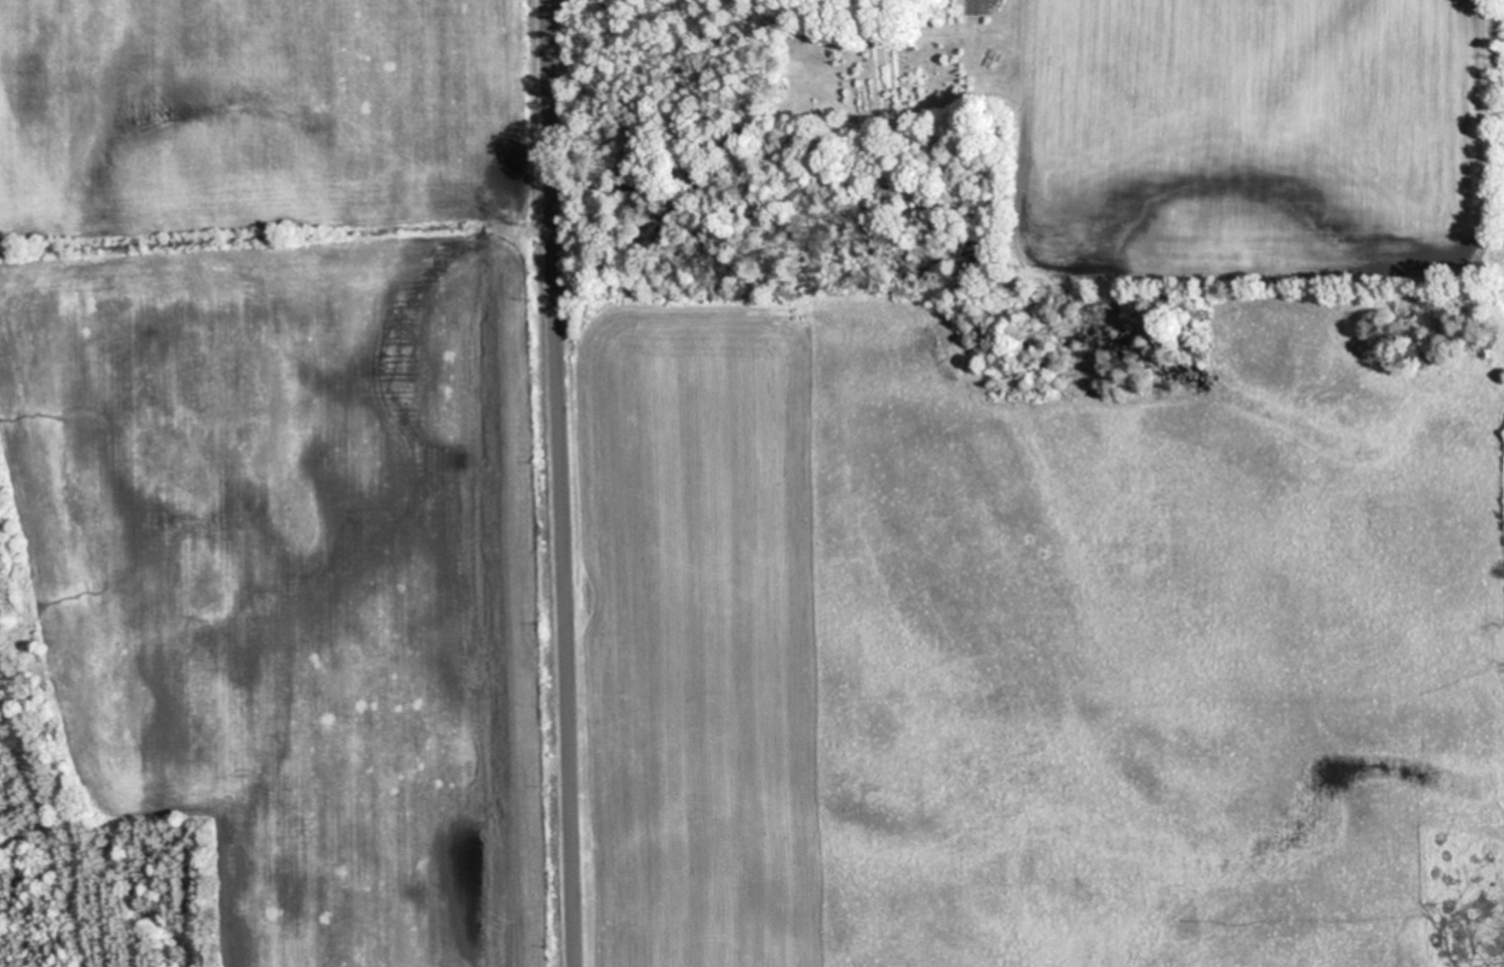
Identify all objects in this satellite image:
road: (561, 483)
quarry: (276, 487)

